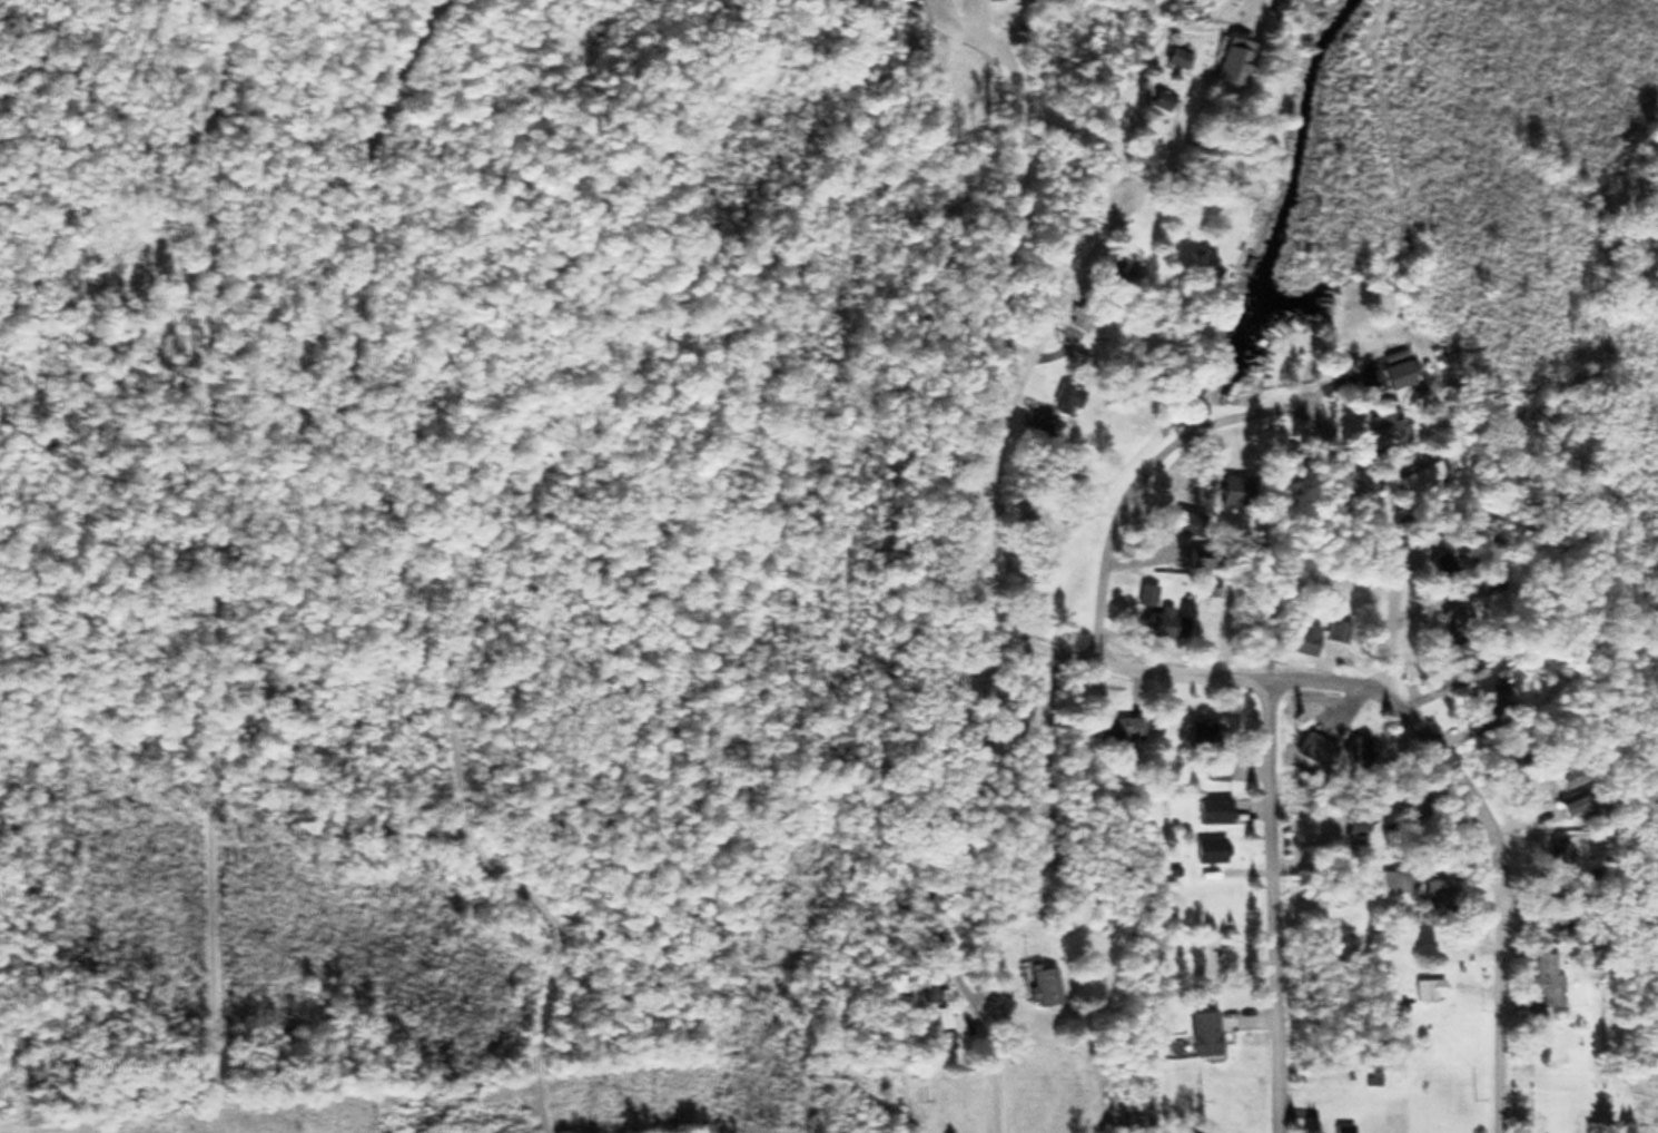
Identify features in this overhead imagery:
building: (1224, 58)
building: (1156, 99)
building: (1146, 146)
road: (1010, 199)
building: (1113, 260)
building: (1079, 312)
building: (1069, 356)
building: (1057, 398)
road: (1272, 405)
building: (1380, 418)
building: (1413, 482)
building: (1439, 558)
road: (200, 564)
road: (483, 571)
building: (1451, 618)
building: (1163, 622)
building: (1297, 640)
road: (1190, 660)
building: (1486, 694)
building: (1114, 727)
building: (1198, 730)
building: (1355, 749)
building: (1212, 769)
building: (1569, 805)
building: (1211, 809)
building: (1352, 824)
building: (1206, 848)
building: (1559, 854)
building: (1394, 879)
building: (1439, 891)
road: (1276, 902)
building: (1549, 976)
building: (1040, 981)
building: (930, 984)
building: (1207, 1027)
building: (946, 1038)
building: (1341, 1126)

